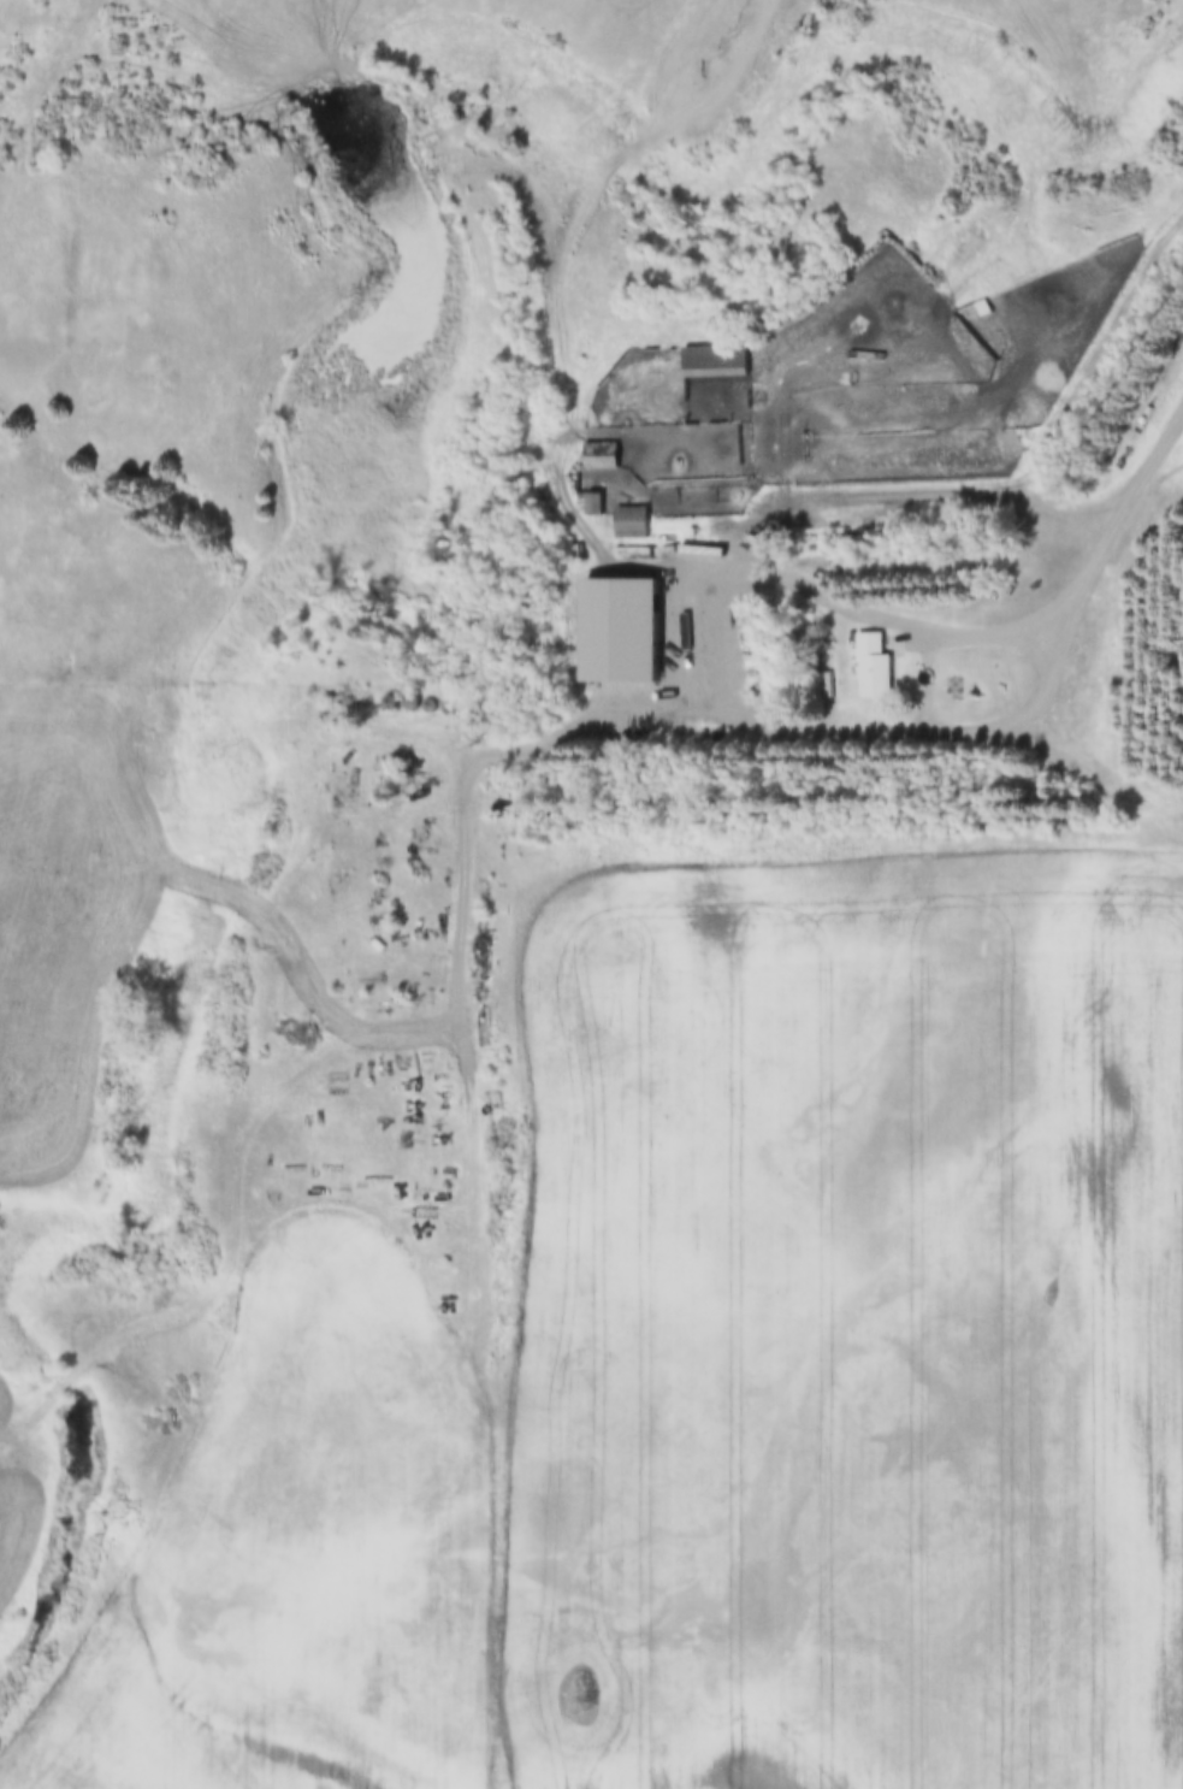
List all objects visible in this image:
building: (710, 361)
building: (597, 455)
road: (925, 486)
building: (588, 503)
road: (1129, 503)
building: (627, 522)
building: (615, 632)
road: (676, 659)
building: (869, 667)
road: (931, 681)
road: (1096, 768)
road: (363, 1033)

